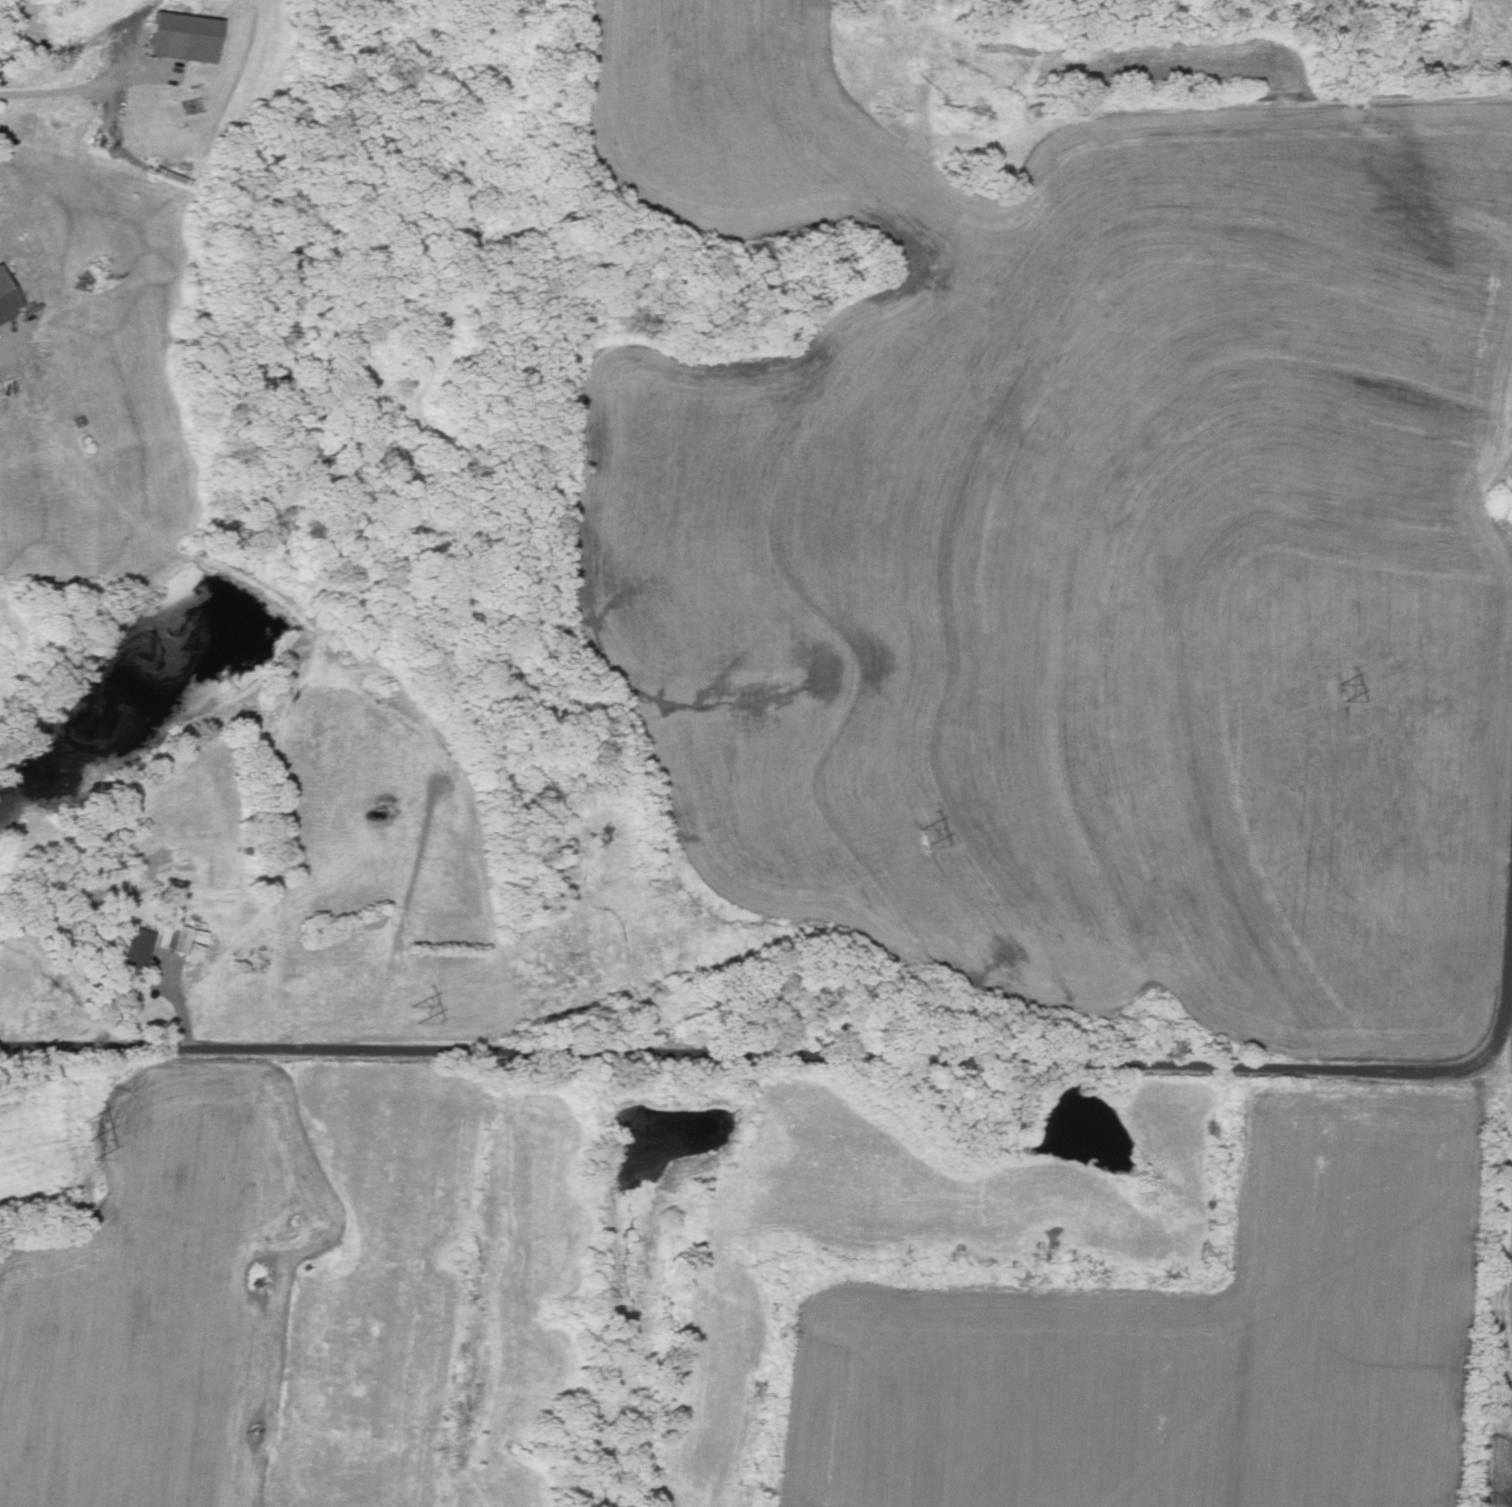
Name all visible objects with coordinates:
building: (181, 37)
crop: (1464, 41)
road: (66, 89)
road: (1203, 108)
crop: (752, 135)
building: (5, 300)
crop: (1099, 584)
power tower: (1338, 687)
power tower: (919, 837)
building: (173, 938)
building: (134, 948)
power tower: (400, 1005)
road: (810, 1053)
power tower: (54, 1111)
crop: (1498, 1242)
crop: (139, 1301)
crop: (1185, 1341)
crop: (1489, 1446)

